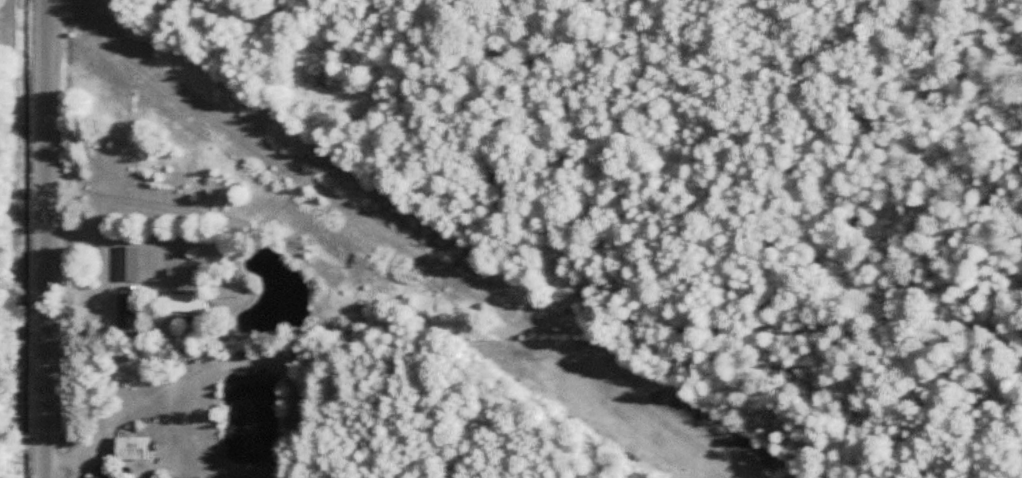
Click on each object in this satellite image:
road: (48, 239)
building: (127, 264)
building: (185, 303)
building: (126, 309)
road: (24, 439)
building: (129, 449)
building: (96, 477)

